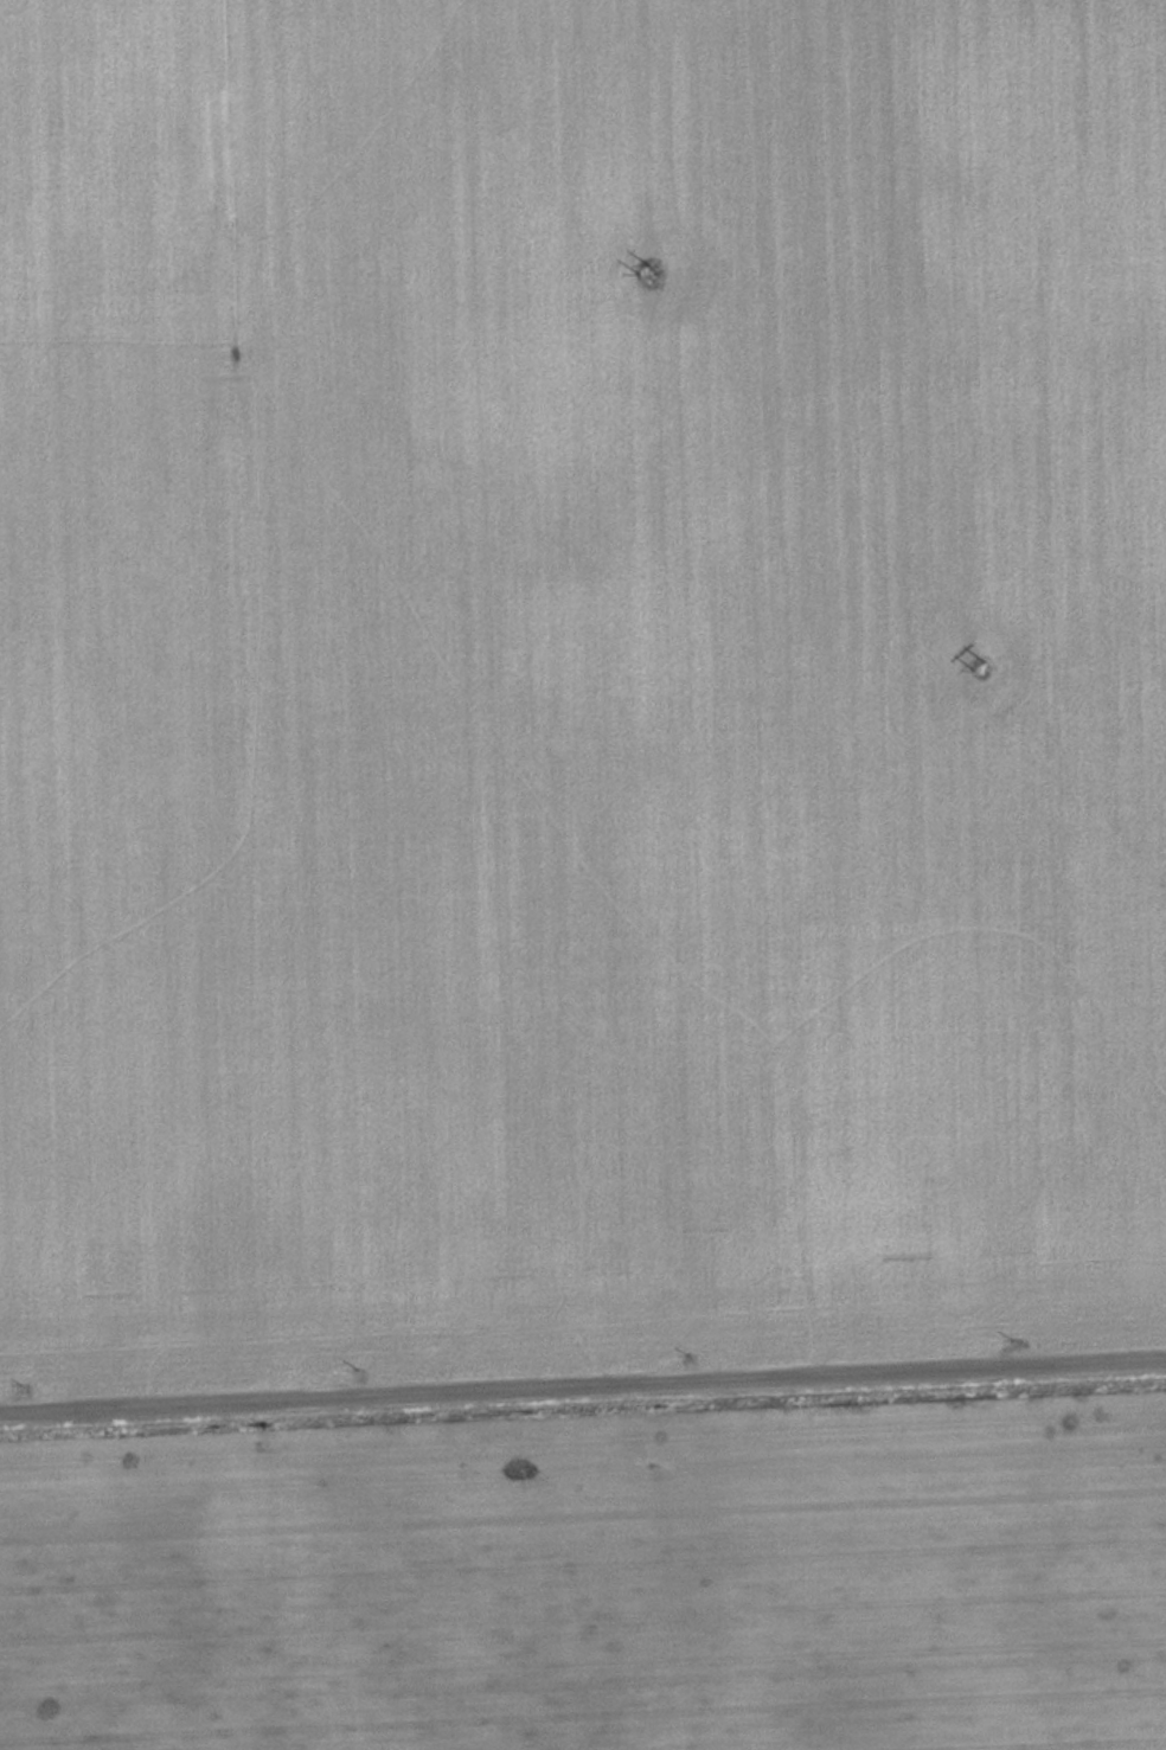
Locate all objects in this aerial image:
power tower: (649, 275)
power tower: (989, 662)
road: (583, 1395)

